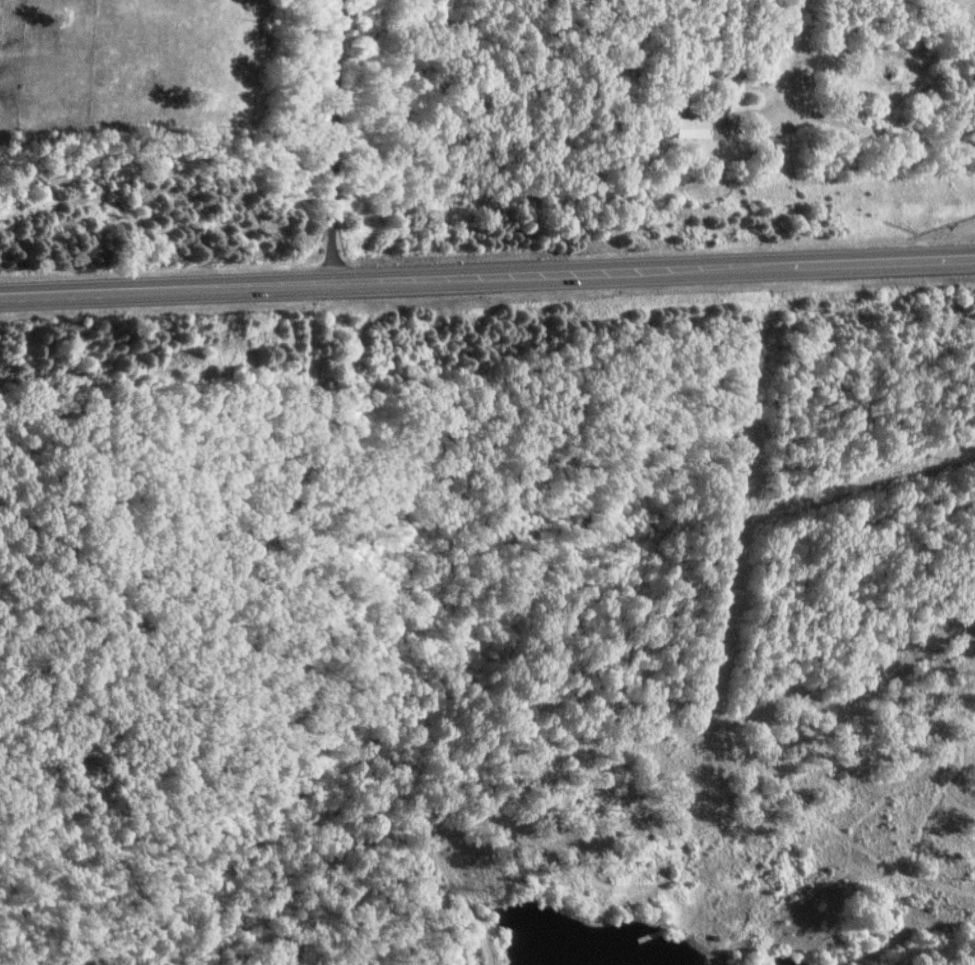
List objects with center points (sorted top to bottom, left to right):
park: (962, 10)
building: (698, 129)
road: (864, 132)
road: (487, 275)

